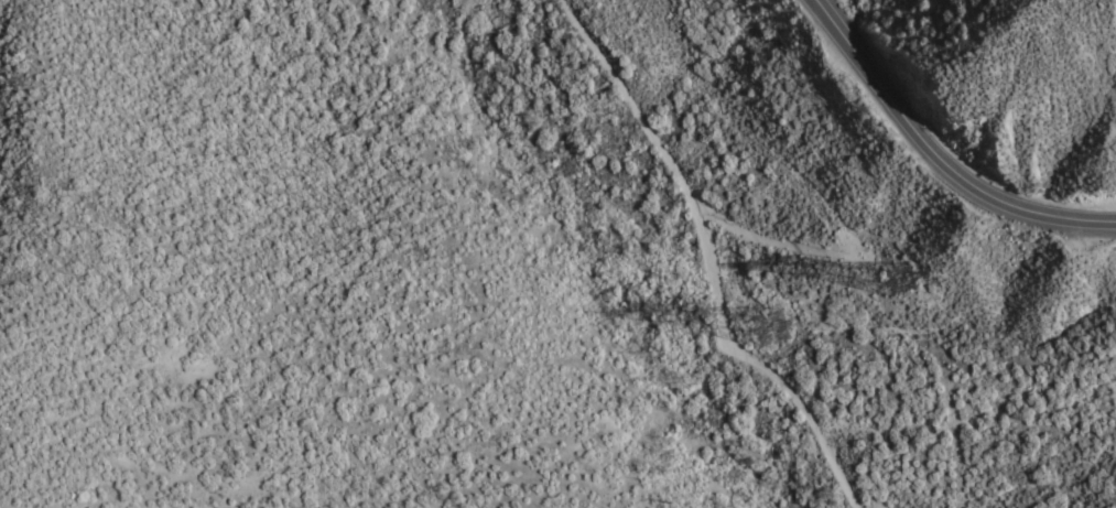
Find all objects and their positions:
road: (936, 154)
power tower: (909, 278)
power tower: (790, 342)

